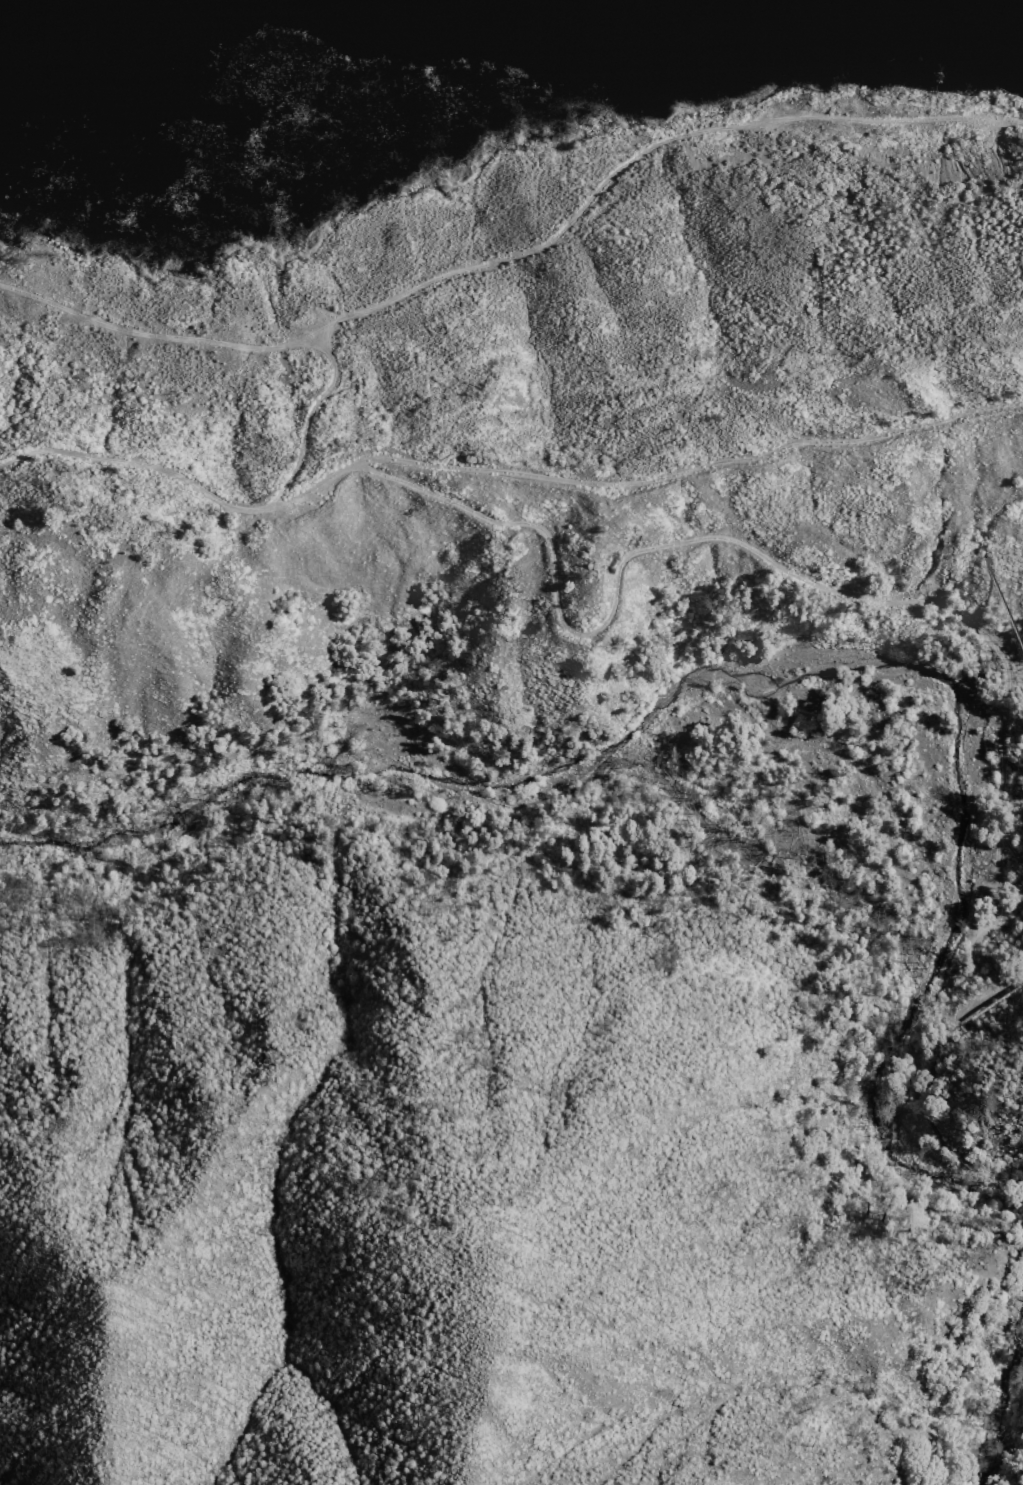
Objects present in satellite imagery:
river: (984, 15)
road: (638, 155)
road: (148, 333)
road: (299, 417)
road: (501, 470)
road: (742, 546)
road: (885, 1077)
road: (992, 1398)

